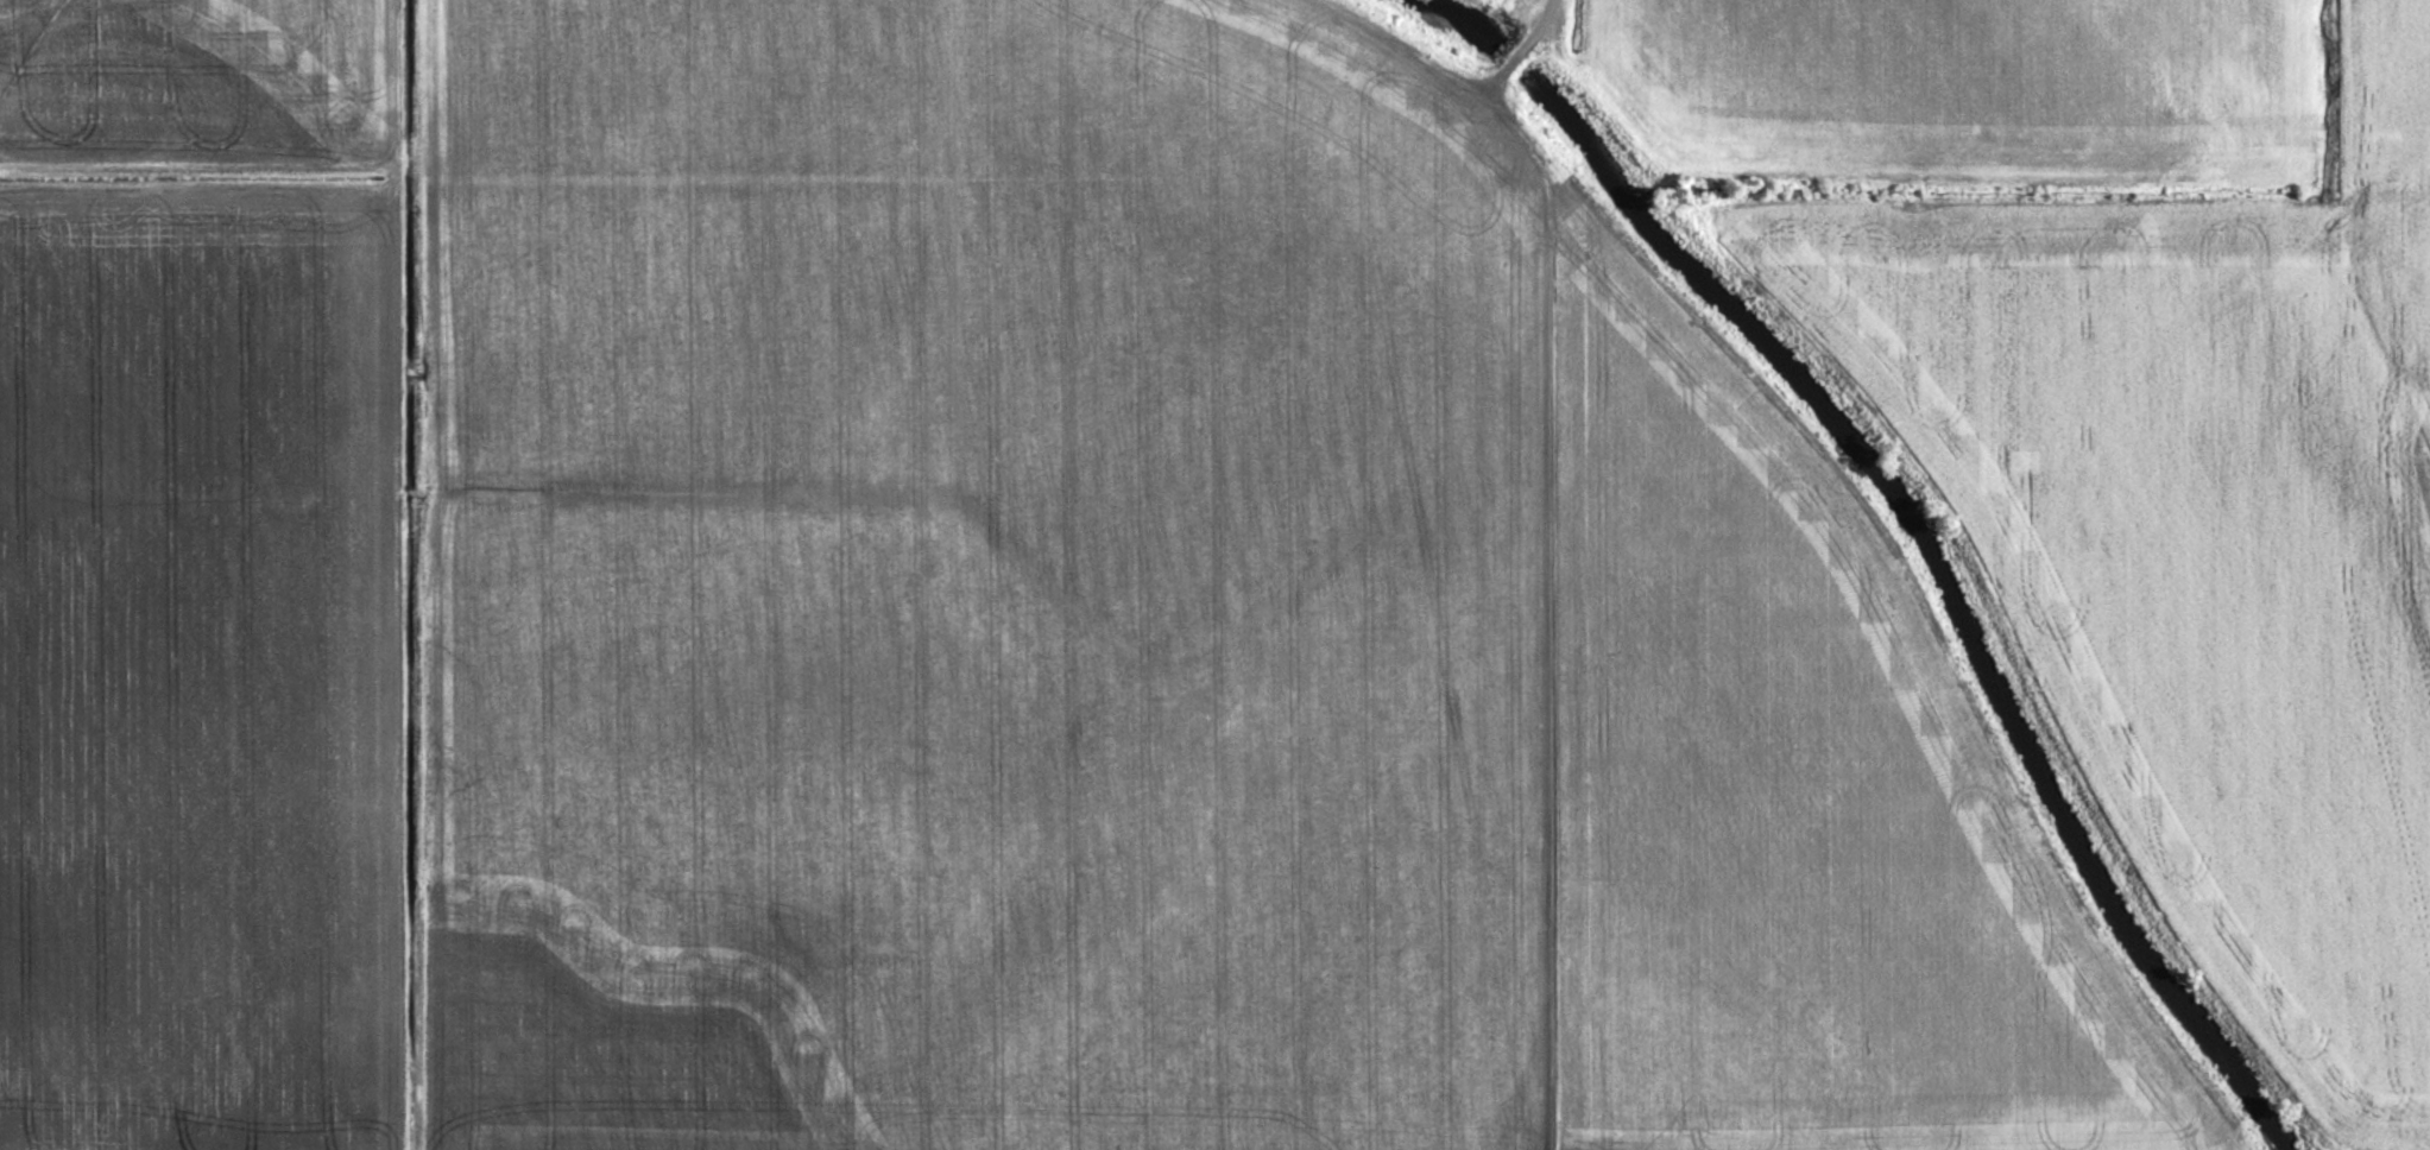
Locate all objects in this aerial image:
road: (1542, 24)
road: (1508, 64)

